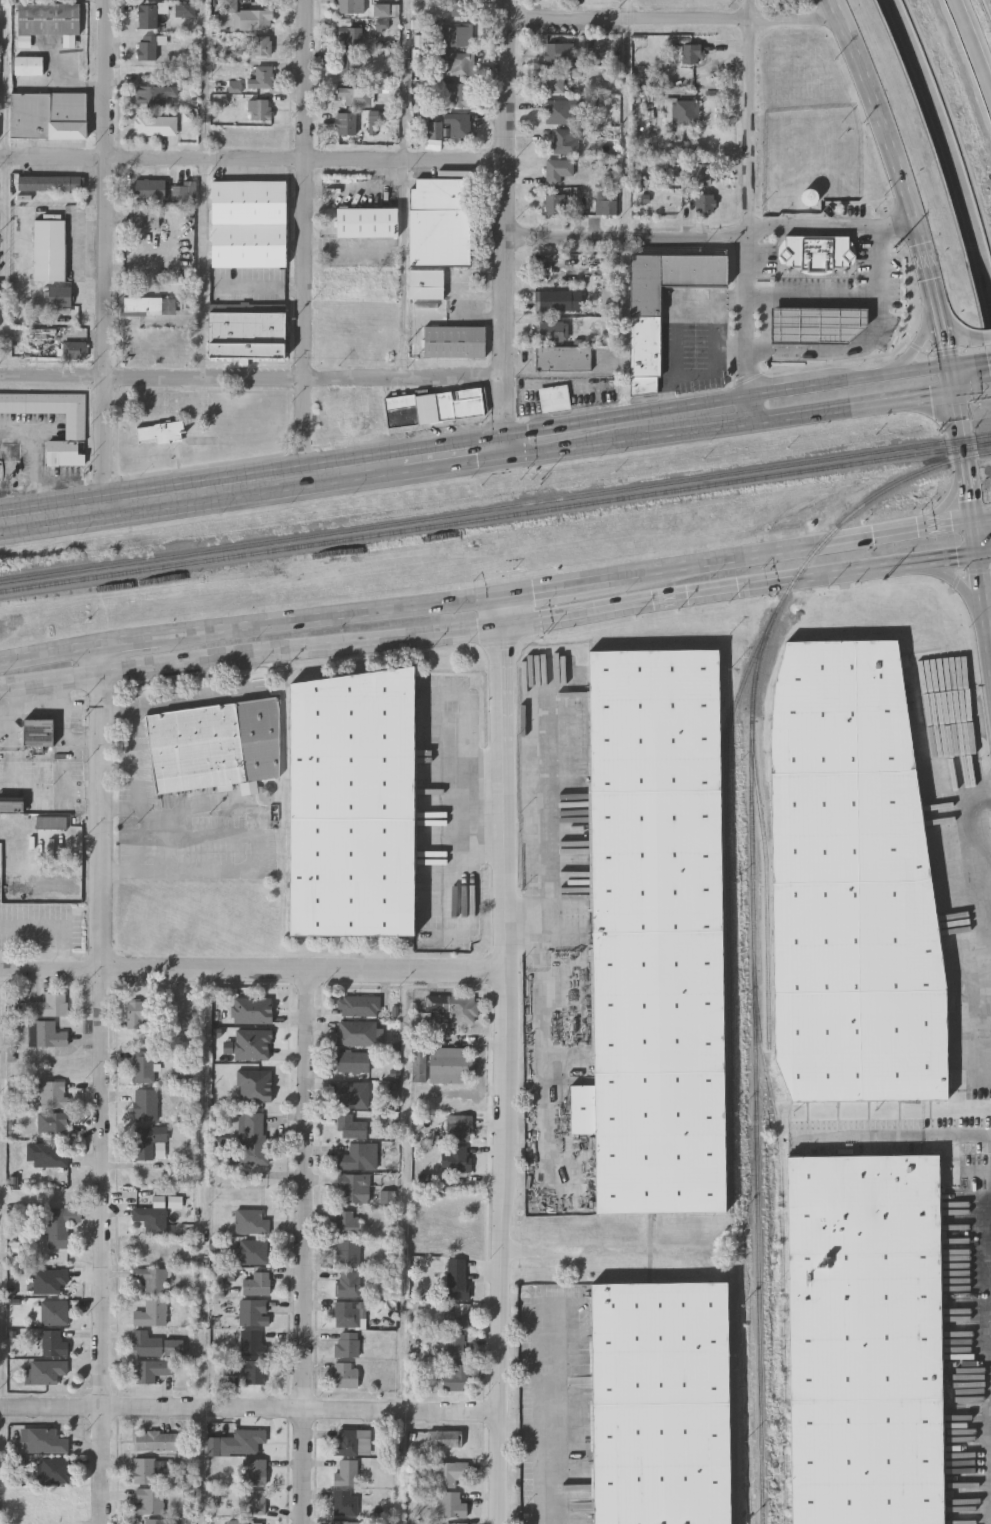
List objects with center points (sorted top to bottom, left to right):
building: (676, 0)
building: (350, 7)
building: (460, 8)
road: (628, 10)
building: (148, 14)
building: (48, 19)
building: (252, 20)
road: (673, 20)
building: (349, 36)
building: (455, 37)
road: (975, 40)
building: (259, 46)
building: (147, 47)
building: (559, 54)
building: (691, 54)
building: (28, 62)
building: (348, 62)
building: (456, 65)
road: (205, 78)
building: (261, 78)
road: (404, 79)
building: (554, 84)
building: (154, 95)
building: (355, 96)
building: (456, 96)
building: (260, 110)
building: (557, 112)
building: (685, 112)
building: (48, 115)
road: (751, 118)
building: (346, 123)
building: (150, 125)
building: (458, 126)
building: (434, 130)
road: (949, 131)
building: (566, 141)
road: (252, 158)
building: (557, 170)
building: (700, 175)
road: (899, 179)
building: (51, 181)
building: (149, 187)
road: (107, 188)
building: (808, 199)
building: (698, 201)
building: (554, 204)
building: (605, 207)
building: (147, 215)
building: (367, 220)
building: (248, 222)
road: (505, 223)
road: (831, 225)
building: (438, 231)
road: (627, 237)
road: (305, 238)
building: (50, 248)
building: (816, 252)
road: (749, 265)
road: (204, 268)
road: (405, 269)
building: (361, 282)
building: (60, 295)
road: (749, 297)
building: (554, 298)
road: (851, 298)
building: (142, 303)
road: (720, 321)
building: (817, 322)
gas station: (817, 322)
road: (675, 324)
road: (749, 325)
building: (552, 329)
building: (245, 333)
road: (958, 335)
building: (645, 338)
road: (986, 339)
building: (455, 340)
road: (921, 340)
building: (75, 348)
road: (835, 349)
building: (564, 356)
road: (988, 359)
road: (718, 366)
traffic signals: (945, 366)
road: (916, 370)
road: (749, 373)
road: (53, 377)
road: (305, 380)
road: (947, 380)
road: (798, 387)
road: (990, 387)
road: (969, 391)
traffic signals: (949, 394)
building: (555, 397)
road: (900, 401)
road: (733, 404)
building: (396, 408)
road: (749, 410)
road: (693, 417)
road: (783, 420)
building: (76, 425)
building: (162, 431)
road: (586, 433)
road: (106, 442)
traffic signals: (504, 447)
road: (40, 453)
road: (454, 454)
road: (960, 459)
road: (202, 492)
railway: (495, 506)
railway: (495, 516)
road: (981, 523)
traffic signals: (971, 525)
road: (973, 540)
road: (793, 548)
road: (983, 553)
traffic signals: (976, 555)
road: (959, 583)
road: (561, 585)
traffic signals: (505, 594)
road: (983, 604)
road: (988, 611)
road: (334, 616)
traffic signals: (505, 625)
road: (488, 626)
road: (131, 643)
road: (50, 654)
road: (157, 705)
road: (118, 712)
building: (36, 732)
building: (214, 745)
railway: (727, 768)
road: (980, 796)
building: (11, 803)
building: (352, 803)
road: (120, 812)
road: (971, 812)
building: (51, 822)
road: (260, 855)
building: (852, 882)
railway: (766, 892)
road: (54, 923)
road: (521, 923)
building: (655, 932)
road: (541, 935)
road: (250, 968)
building: (48, 1006)
building: (183, 1006)
building: (359, 1006)
building: (454, 1006)
building: (138, 1012)
building: (357, 1033)
building: (46, 1034)
road: (499, 1059)
building: (353, 1062)
building: (448, 1065)
building: (143, 1066)
railway: (755, 1076)
road: (102, 1085)
building: (53, 1094)
building: (352, 1094)
building: (145, 1105)
building: (51, 1121)
building: (350, 1126)
building: (458, 1127)
road: (895, 1136)
building: (252, 1140)
building: (146, 1141)
building: (51, 1154)
building: (358, 1157)
building: (457, 1158)
building: (354, 1187)
building: (251, 1221)
building: (348, 1222)
building: (59, 1225)
road: (307, 1246)
building: (253, 1251)
building: (347, 1252)
railway: (781, 1255)
building: (457, 1278)
building: (152, 1279)
building: (48, 1280)
building: (348, 1282)
building: (256, 1283)
building: (52, 1311)
building: (253, 1311)
building: (151, 1312)
building: (349, 1312)
building: (457, 1316)
building: (864, 1339)
building: (250, 1341)
building: (52, 1342)
building: (145, 1343)
building: (347, 1343)
building: (455, 1346)
building: (246, 1368)
building: (150, 1369)
building: (46, 1370)
building: (345, 1374)
building: (456, 1377)
road: (551, 1393)
building: (660, 1403)
road: (248, 1405)
building: (444, 1438)
building: (155, 1439)
building: (45, 1440)
building: (241, 1440)
building: (345, 1441)
building: (52, 1469)
building: (143, 1469)
building: (254, 1470)
building: (346, 1472)
building: (447, 1472)
road: (550, 1476)
building: (147, 1501)
building: (252, 1501)
building: (343, 1502)
building: (450, 1503)
building: (156, 1521)
building: (247, 1522)
building: (347, 1522)
building: (453, 1523)

